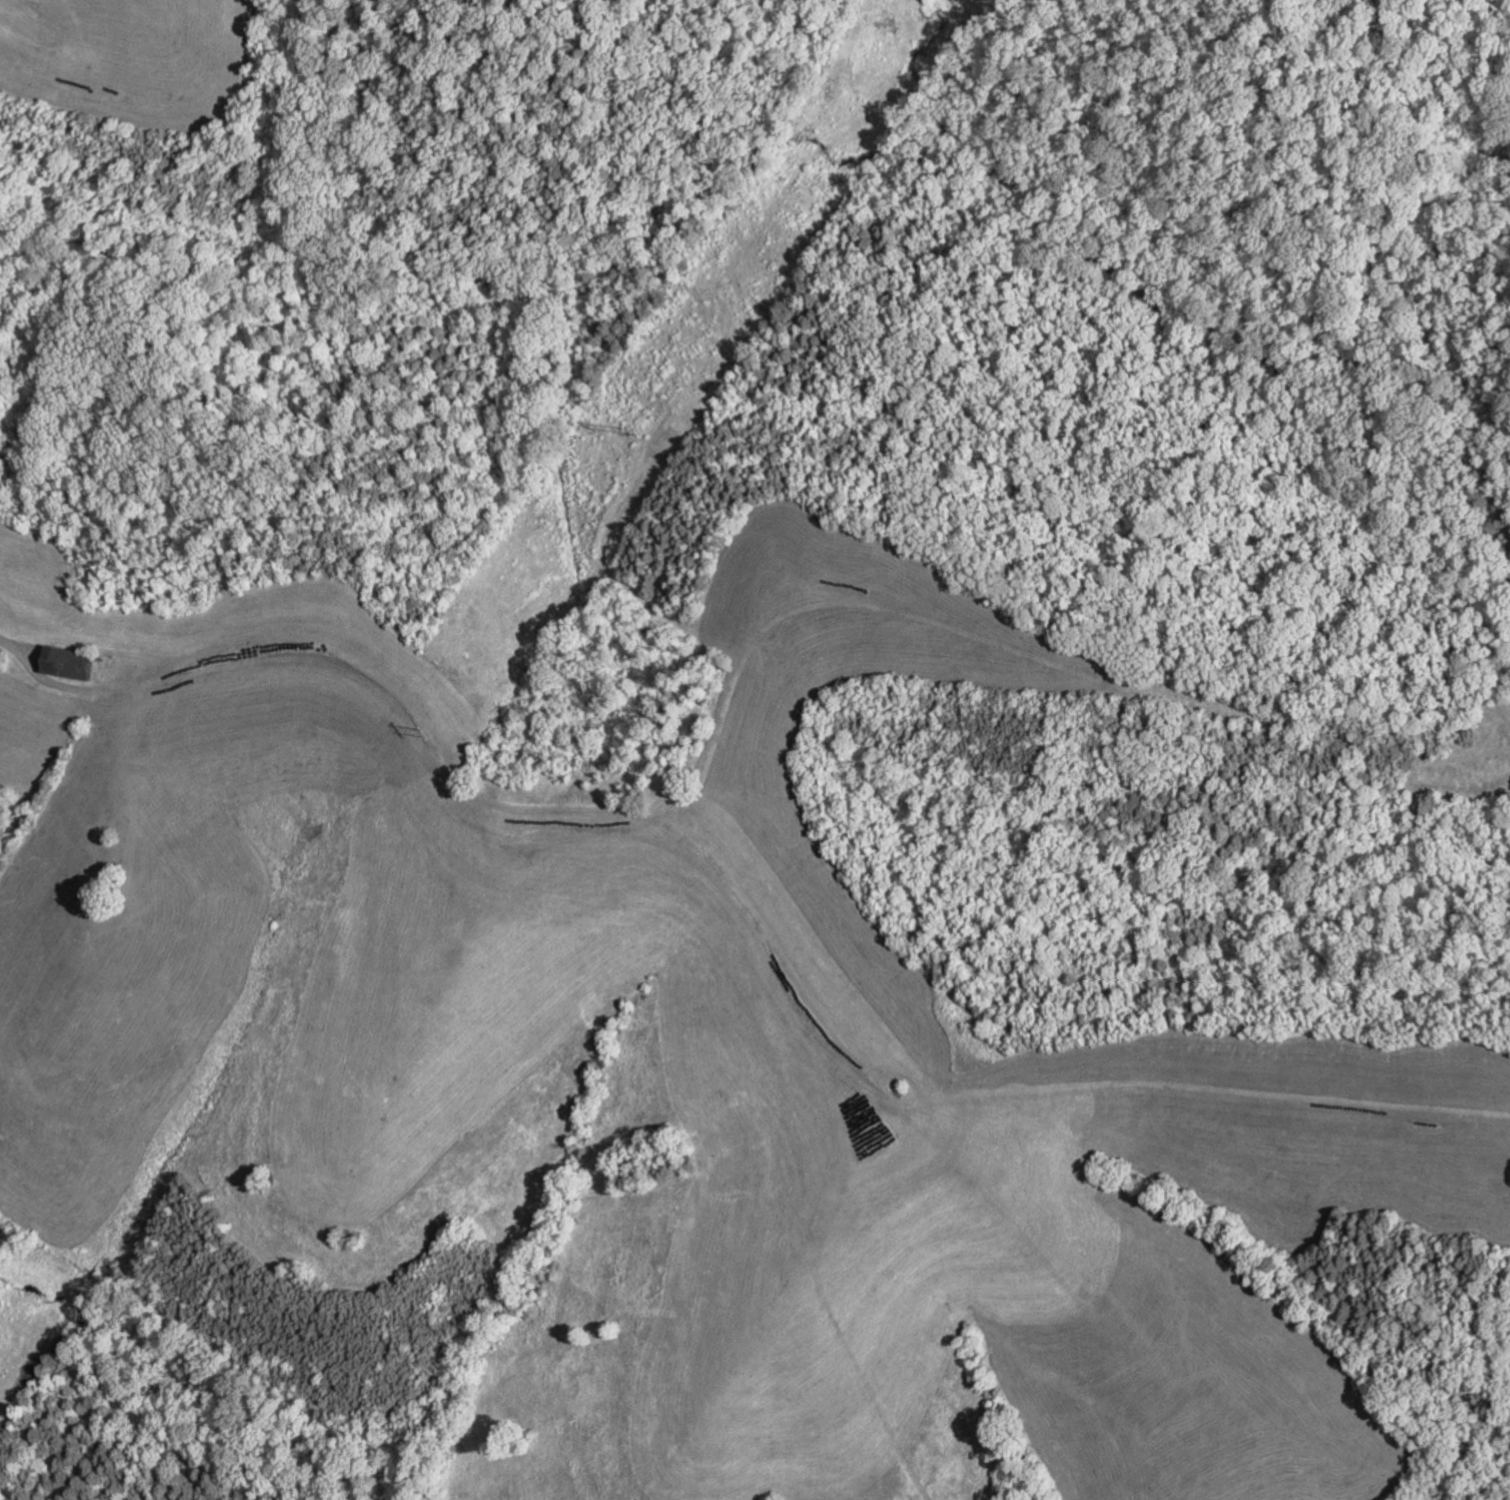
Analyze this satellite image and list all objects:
building: (73, 663)
road: (41, 674)
power tower: (428, 734)

